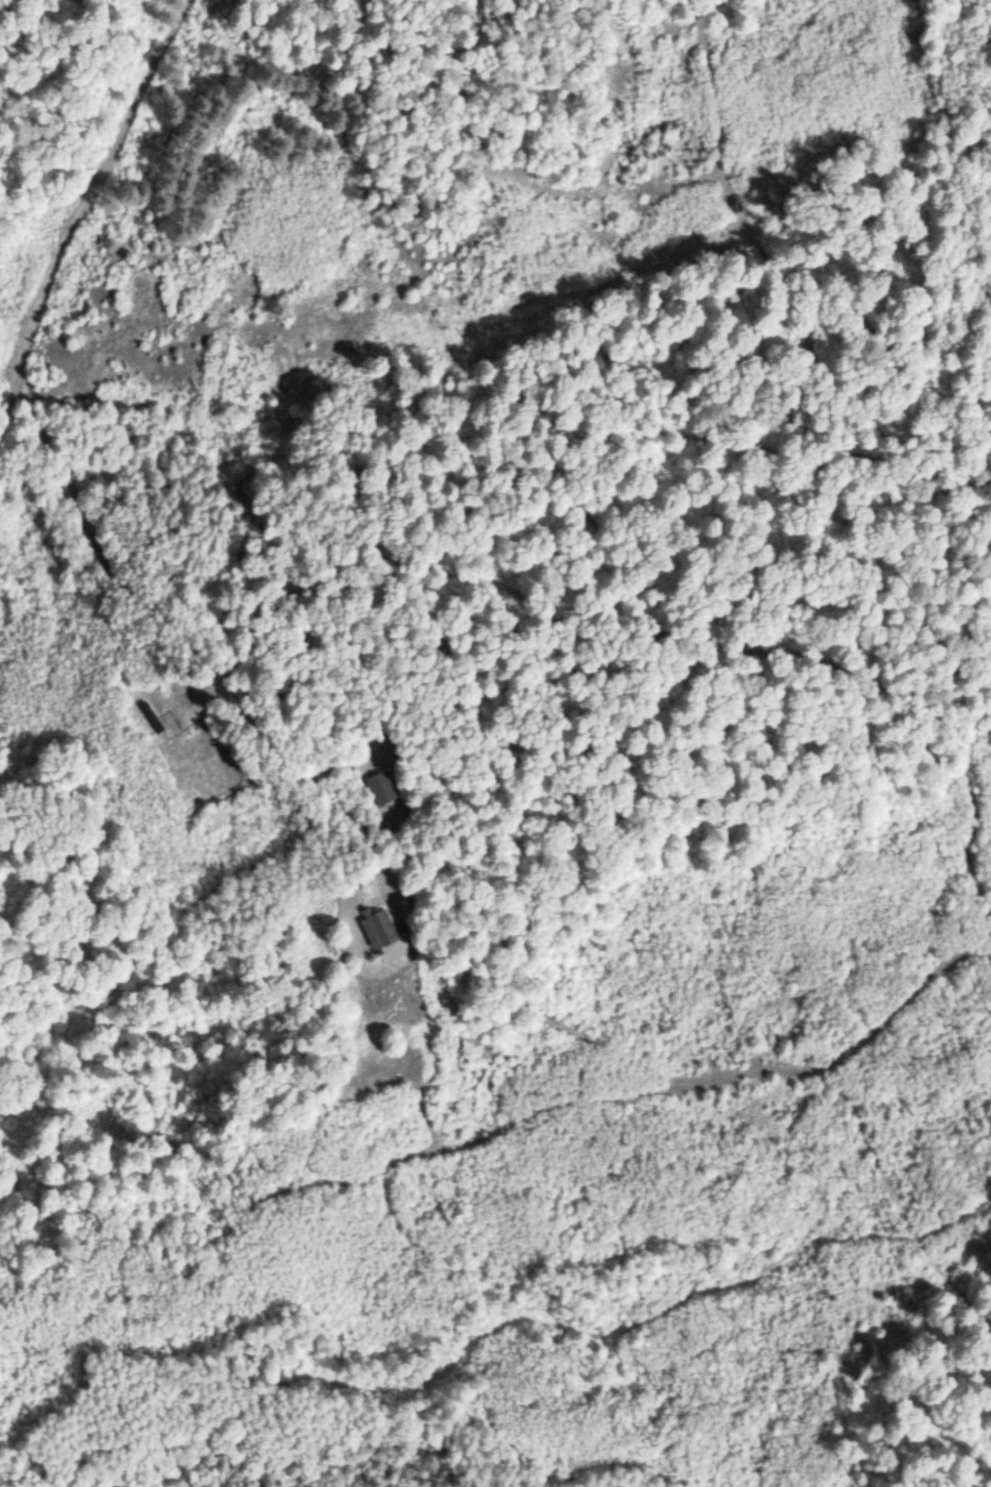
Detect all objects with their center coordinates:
road: (93, 185)
road: (10, 417)
building: (378, 790)
building: (383, 932)

